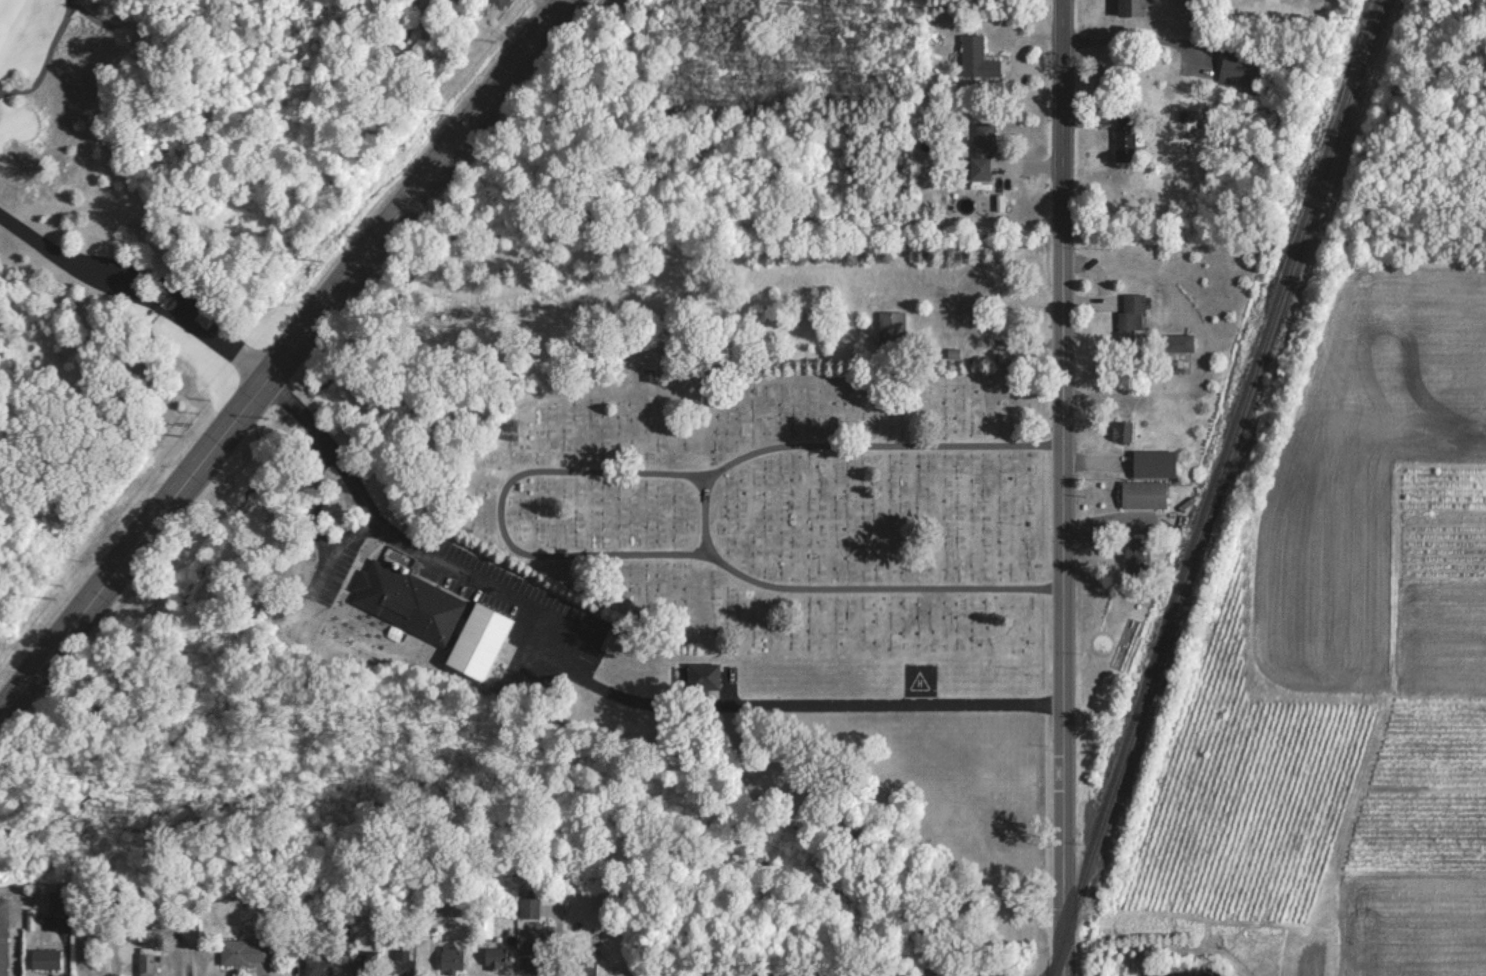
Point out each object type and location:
building: (495, 3)
road: (72, 6)
building: (1129, 8)
road: (88, 14)
road: (45, 58)
building: (976, 58)
building: (1236, 69)
park: (64, 71)
road: (1061, 110)
building: (1123, 137)
building: (981, 151)
road: (134, 295)
road: (185, 297)
building: (1130, 318)
building: (890, 327)
building: (1177, 342)
building: (1004, 356)
road: (283, 357)
building: (1120, 431)
building: (1153, 463)
railway: (1213, 488)
building: (1142, 494)
park: (770, 499)
road: (317, 502)
road: (338, 548)
road: (419, 549)
building: (1131, 551)
road: (1061, 597)
building: (405, 600)
building: (700, 678)
road: (815, 702)
building: (54, 902)
building: (527, 907)
building: (2, 937)
building: (244, 951)
building: (529, 951)
building: (493, 957)
building: (42, 958)
building: (449, 958)
building: (143, 961)
building: (402, 962)
building: (316, 967)
building: (583, 968)

